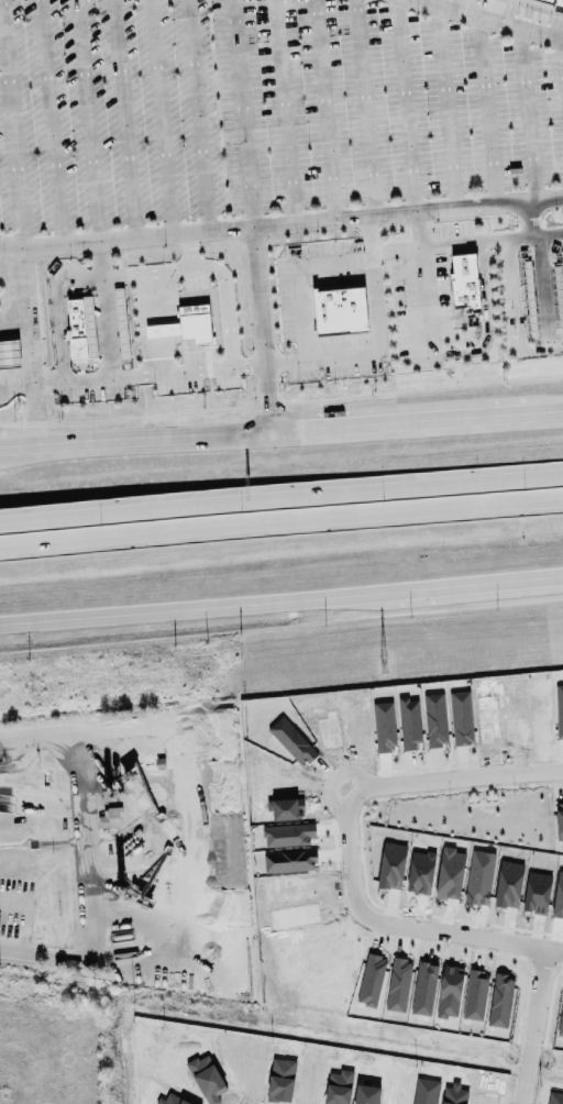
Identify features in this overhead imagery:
building: (556, 1)
road: (493, 19)
road: (562, 44)
road: (406, 107)
road: (446, 107)
road: (366, 109)
road: (323, 110)
road: (487, 110)
road: (284, 112)
road: (241, 114)
road: (528, 114)
road: (197, 117)
road: (161, 118)
road: (123, 120)
road: (86, 122)
road: (51, 123)
road: (11, 129)
road: (279, 227)
road: (540, 233)
road: (516, 235)
road: (396, 251)
road: (188, 252)
road: (12, 261)
road: (206, 271)
building: (467, 283)
road: (534, 292)
road: (57, 310)
building: (339, 310)
road: (506, 321)
building: (120, 323)
building: (195, 323)
building: (75, 329)
building: (162, 330)
road: (265, 330)
road: (30, 333)
road: (107, 334)
road: (470, 351)
building: (10, 353)
gas station: (10, 353)
road: (319, 357)
road: (284, 361)
road: (190, 371)
road: (48, 383)
road: (280, 431)
road: (281, 497)
road: (281, 523)
road: (281, 595)
railway: (281, 610)
power tower: (382, 665)
building: (110, 817)
road: (82, 818)
road: (346, 843)
building: (289, 861)
road: (79, 960)
road: (537, 1026)

